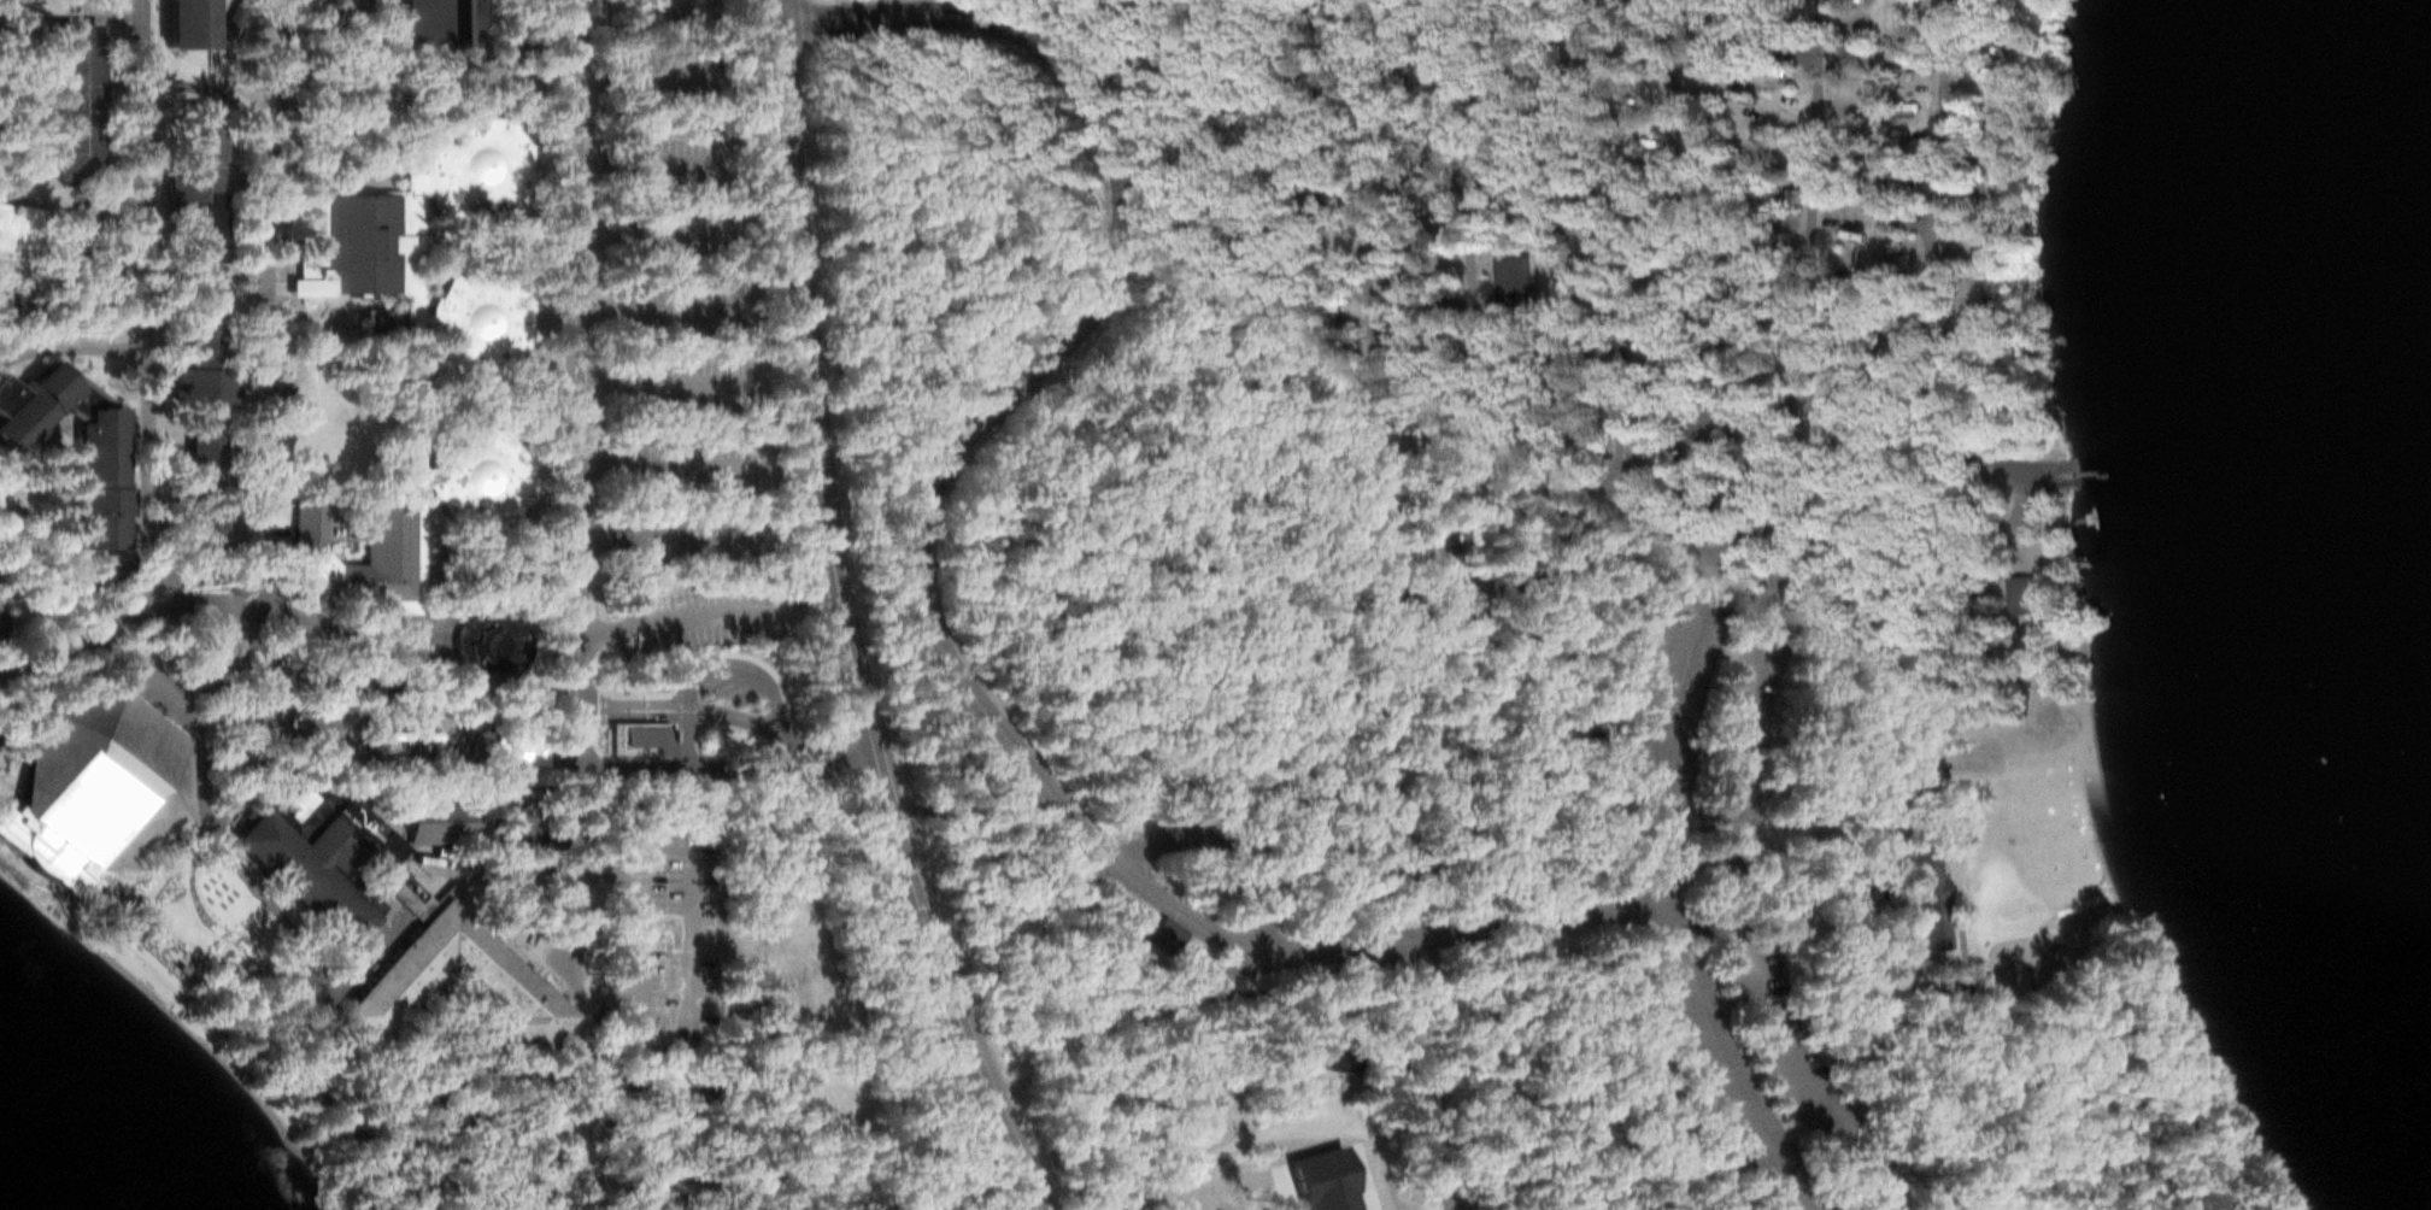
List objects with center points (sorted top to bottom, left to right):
road: (84, 10)
road: (623, 11)
parking lot: (657, 17)
building: (436, 19)
building: (184, 23)
building: (227, 27)
road: (454, 58)
road: (277, 71)
road: (636, 83)
parking lot: (667, 88)
building: (70, 99)
road: (406, 101)
road: (339, 116)
parking lot: (674, 155)
road: (638, 159)
building: (472, 161)
road: (337, 169)
building: (192, 183)
road: (1810, 201)
road: (1969, 210)
building: (1848, 217)
building: (100, 218)
road: (1681, 218)
building: (17, 229)
parking lot: (688, 233)
road: (647, 234)
road: (1928, 235)
road: (1576, 236)
road: (498, 241)
building: (77, 243)
building: (354, 246)
road: (1472, 272)
road: (1561, 275)
parking lot: (1574, 275)
building: (1513, 276)
road: (210, 277)
road: (1546, 284)
road: (1486, 289)
road: (148, 294)
road: (270, 298)
road: (647, 302)
building: (19, 307)
parking lot: (691, 307)
road: (1369, 309)
road: (318, 317)
building: (482, 317)
road: (74, 347)
road: (652, 380)
parking lot: (683, 381)
building: (199, 383)
road: (1918, 383)
road: (1940, 394)
road: (552, 395)
building: (30, 403)
road: (1755, 421)
building: (415, 424)
road: (667, 463)
parking lot: (705, 468)
building: (480, 474)
building: (94, 476)
building: (388, 527)
building: (198, 533)
road: (1745, 536)
road: (664, 540)
parking lot: (712, 540)
road: (1598, 542)
road: (60, 547)
road: (1645, 551)
road: (492, 570)
road: (580, 588)
road: (916, 589)
building: (2013, 592)
road: (8, 594)
road: (511, 597)
park: (1491, 598)
road: (418, 605)
road: (48, 611)
parking lot: (709, 618)
road: (839, 619)
road: (667, 622)
road: (1854, 623)
road: (101, 633)
building: (492, 641)
road: (1920, 642)
road: (48, 654)
road: (734, 663)
parking lot: (727, 674)
parking lot: (1683, 680)
parking lot: (1752, 686)
road: (1754, 691)
building: (10, 706)
road: (726, 709)
building: (634, 735)
road: (685, 735)
road: (1376, 746)
park: (1989, 746)
road: (727, 765)
building: (92, 786)
road: (1752, 815)
building: (440, 820)
building: (516, 821)
building: (552, 838)
parking lot: (1193, 839)
road: (1221, 844)
building: (324, 858)
road: (507, 868)
road: (242, 873)
building: (1937, 883)
road: (1892, 886)
road: (1963, 887)
road: (1843, 893)
road: (1746, 894)
building: (117, 903)
building: (1165, 928)
parking lot: (669, 933)
road: (519, 934)
road: (1155, 935)
road: (1901, 939)
road: (221, 950)
road: (1132, 953)
road: (247, 956)
road: (693, 961)
road: (1984, 961)
building: (499, 981)
road: (1981, 997)
building: (1968, 1000)
road: (2165, 1068)
road: (1810, 1071)
road: (2034, 1074)
road: (1731, 1075)
parking lot: (1816, 1075)
parking lot: (1746, 1096)
building: (1226, 1179)
building: (1326, 1182)

